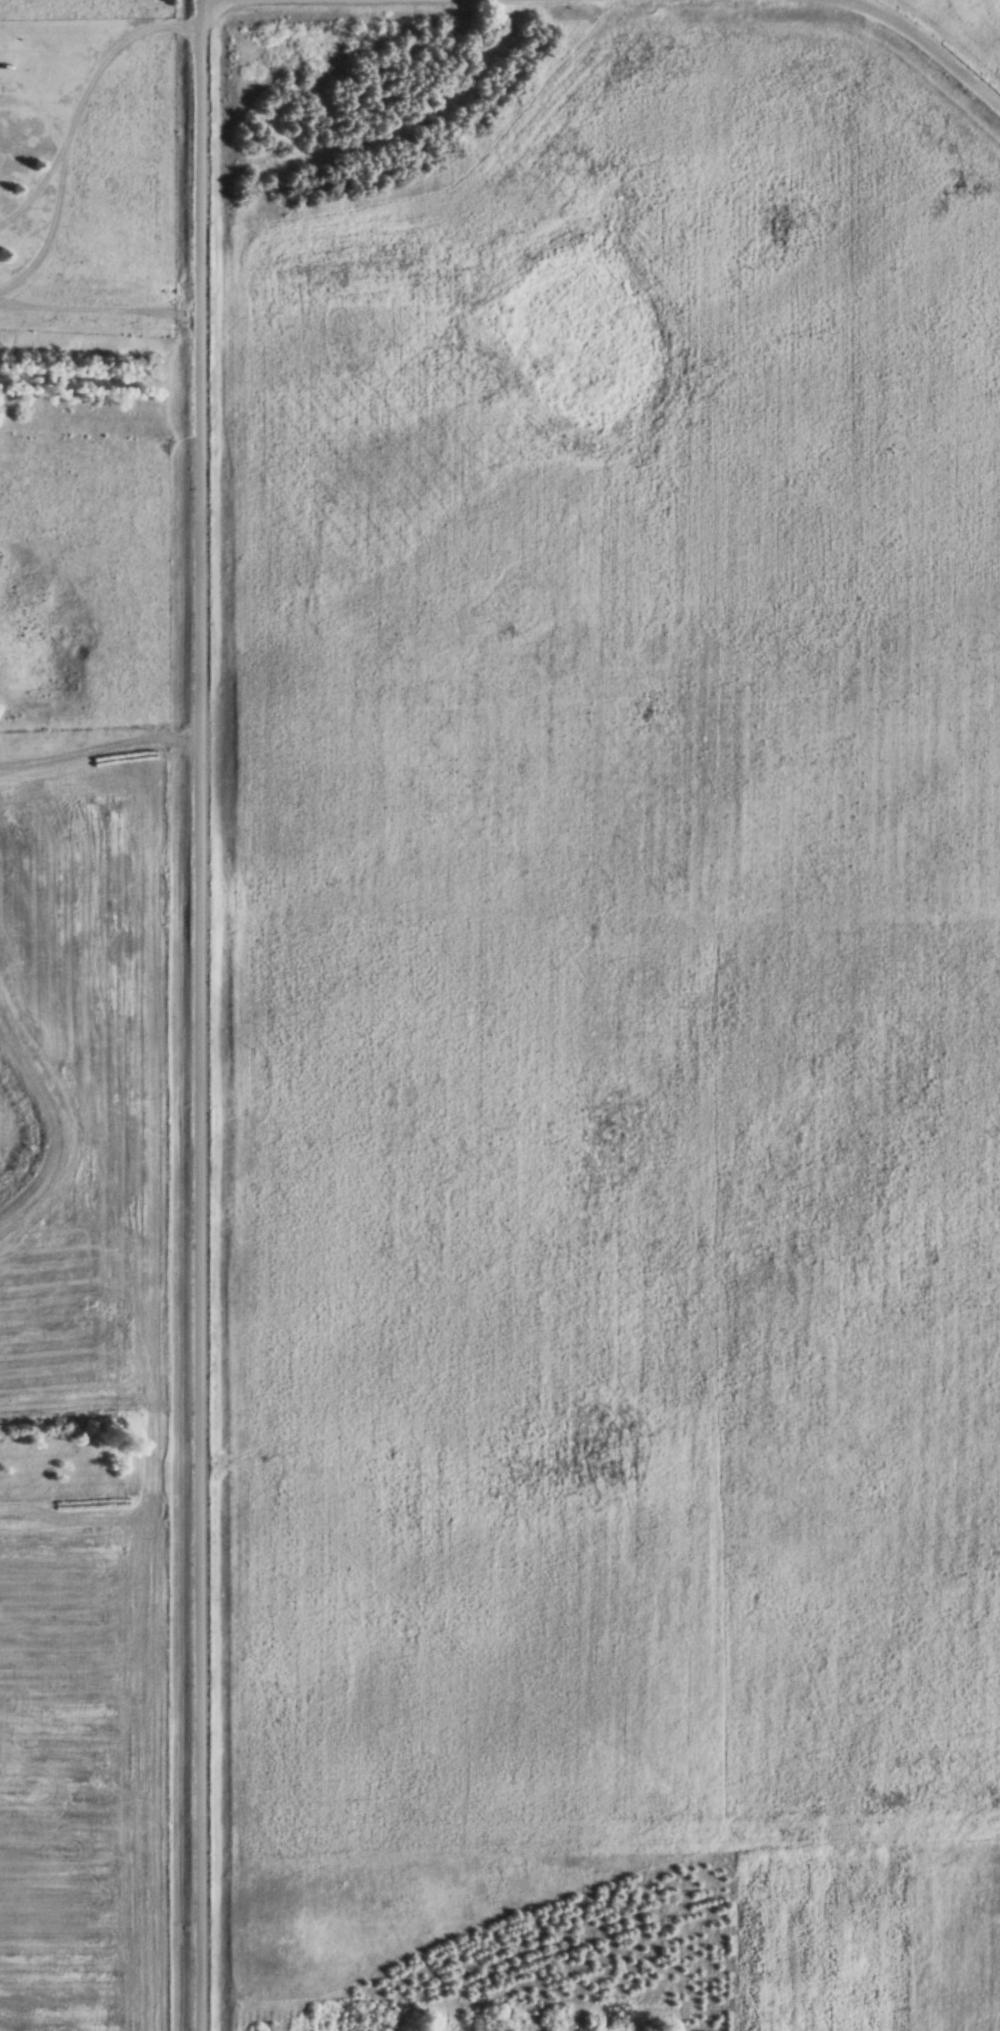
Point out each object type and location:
road: (937, 41)
road: (90, 101)
road: (105, 305)
road: (104, 745)
road: (209, 1015)

